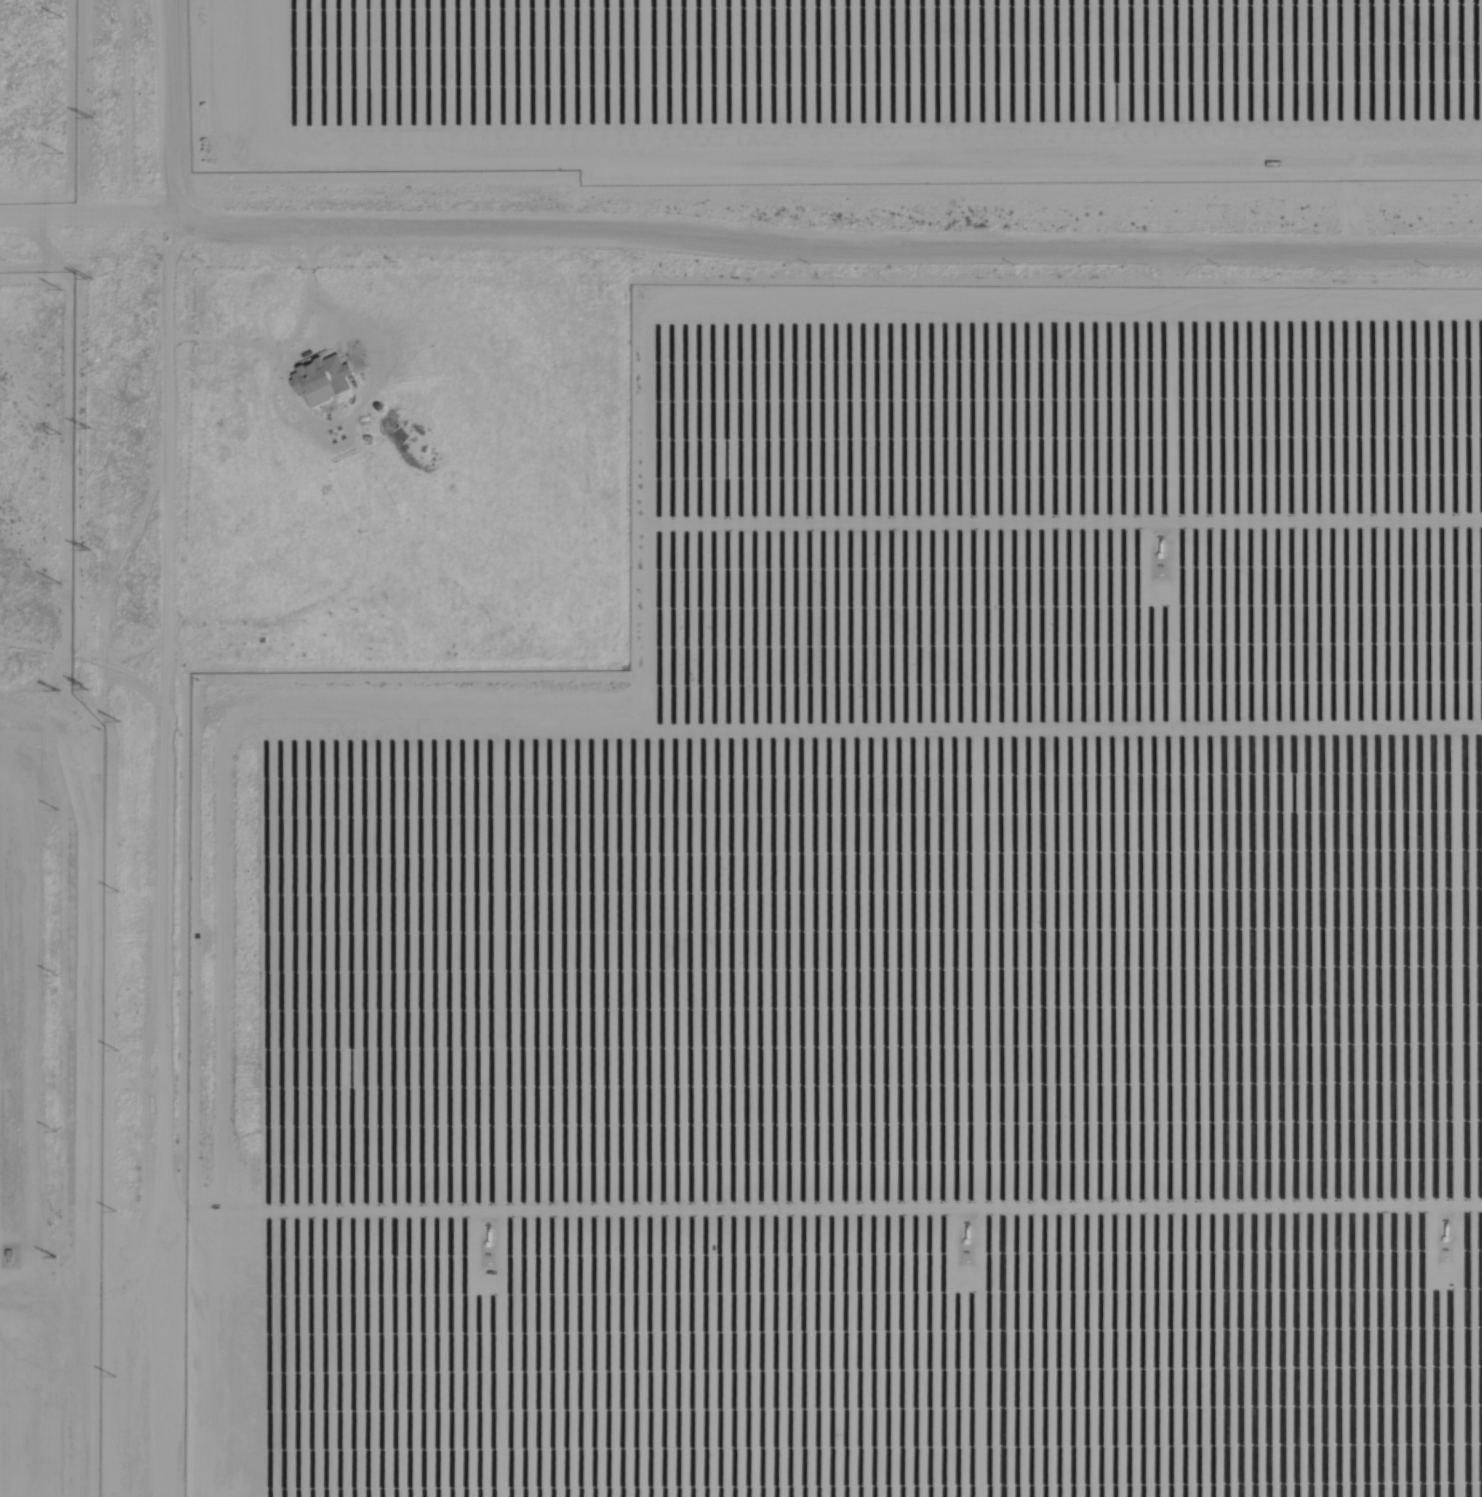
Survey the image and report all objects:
solar farm: (844, 90)
solar farm: (38, 101)
road: (172, 106)
road: (389, 225)
road: (1130, 250)
building: (321, 380)
road: (168, 853)
solar farm: (48, 940)
solar farm: (889, 941)

